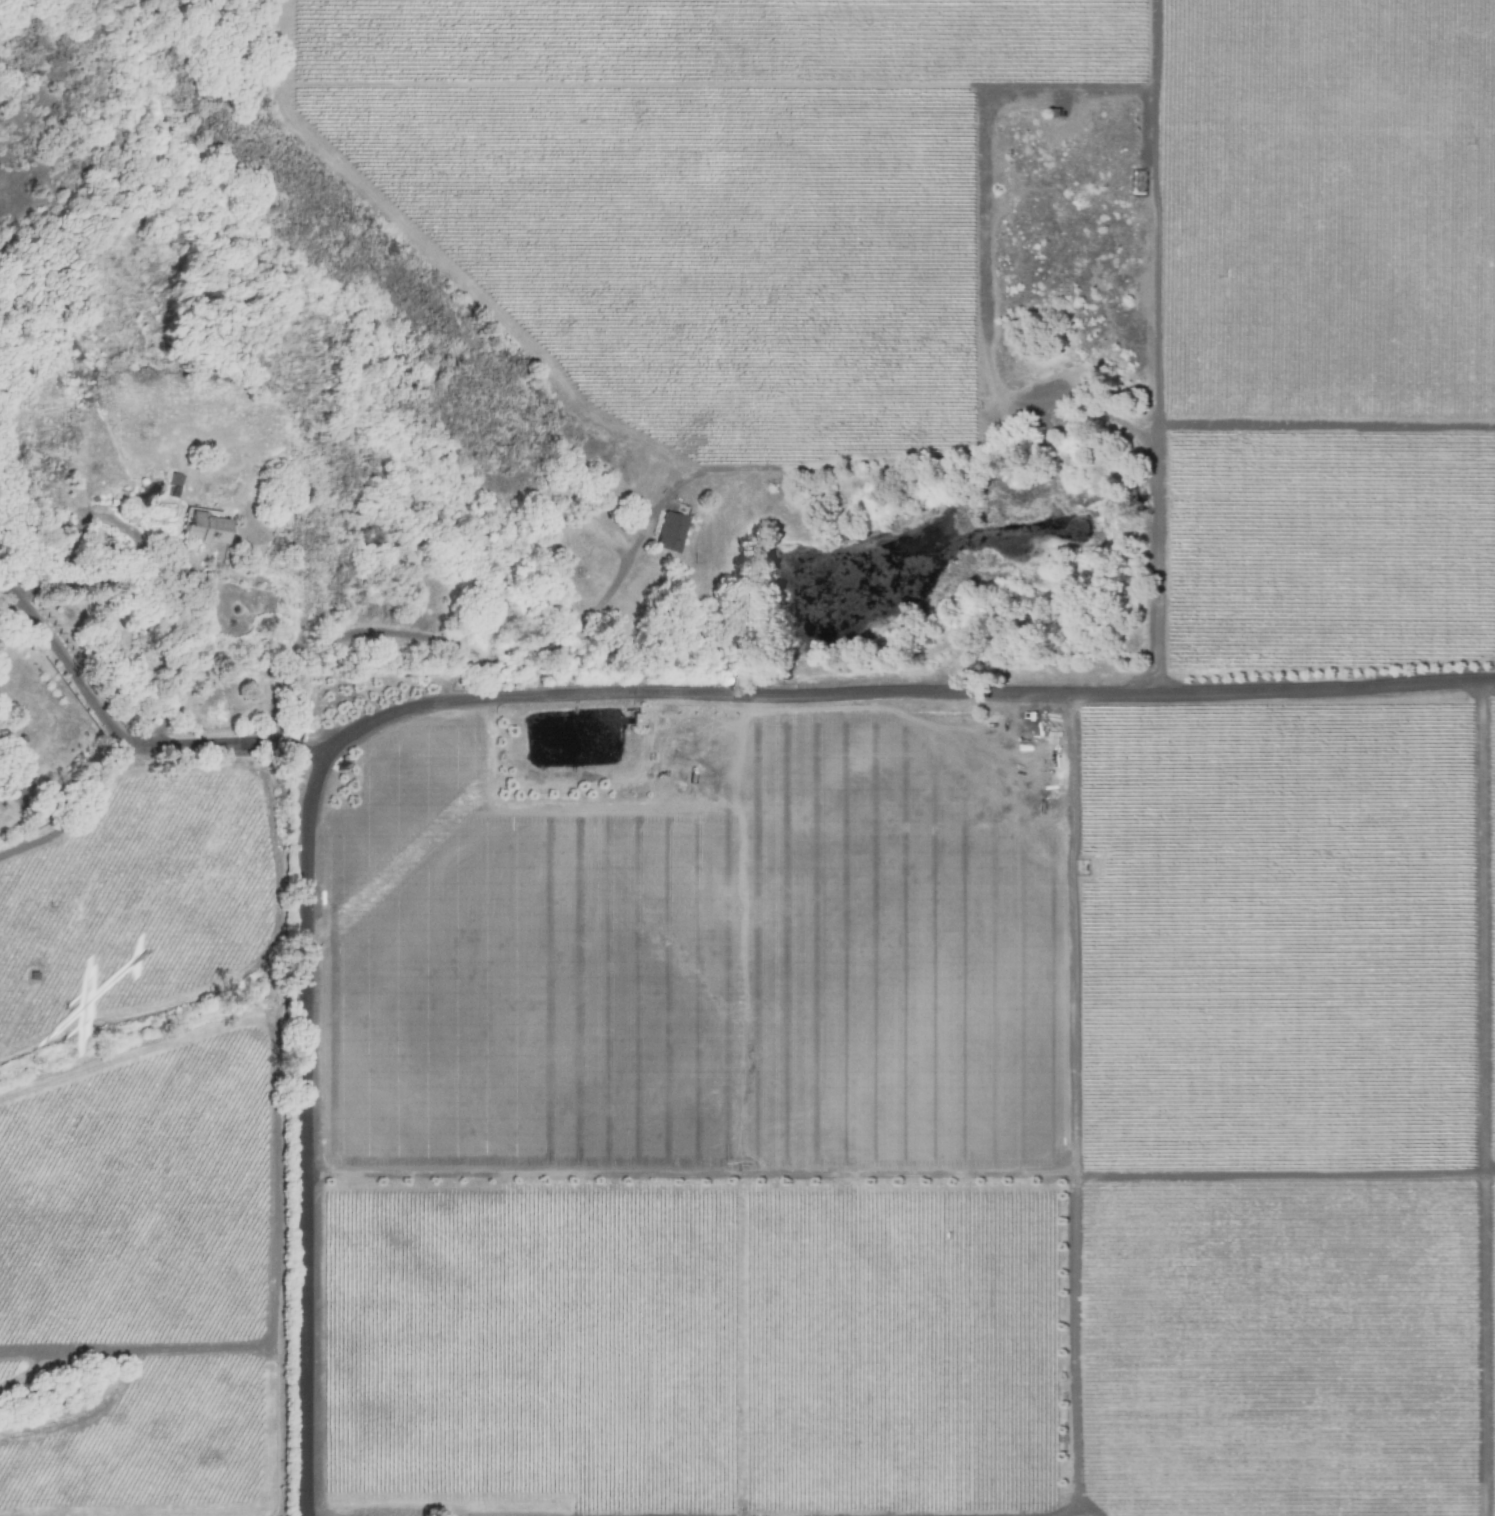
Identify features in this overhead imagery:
building: (205, 529)
building: (670, 533)
road: (575, 632)
road: (899, 693)
road: (120, 732)
road: (65, 796)
road: (80, 813)
road: (304, 1134)

